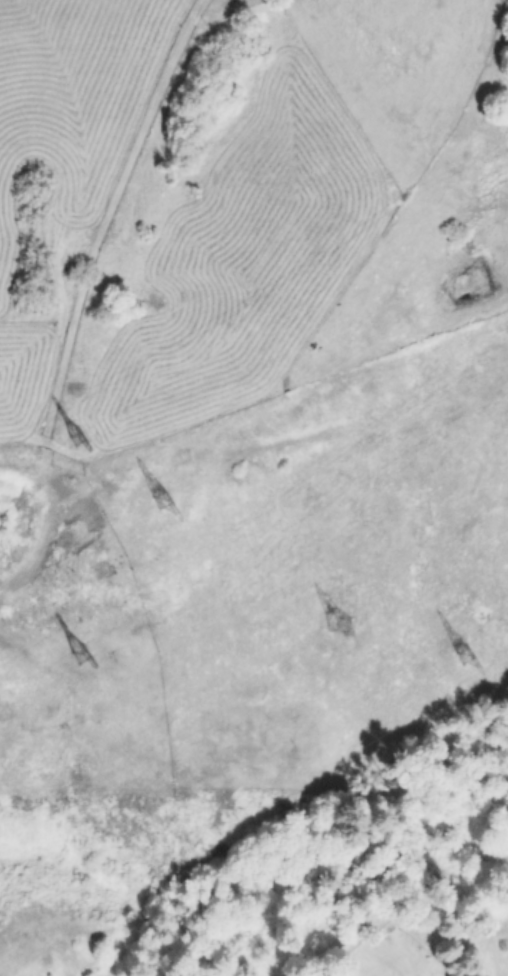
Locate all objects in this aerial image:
power tower: (73, 433)
power tower: (157, 497)
power tower: (336, 621)
power tower: (77, 655)
power tower: (467, 659)

